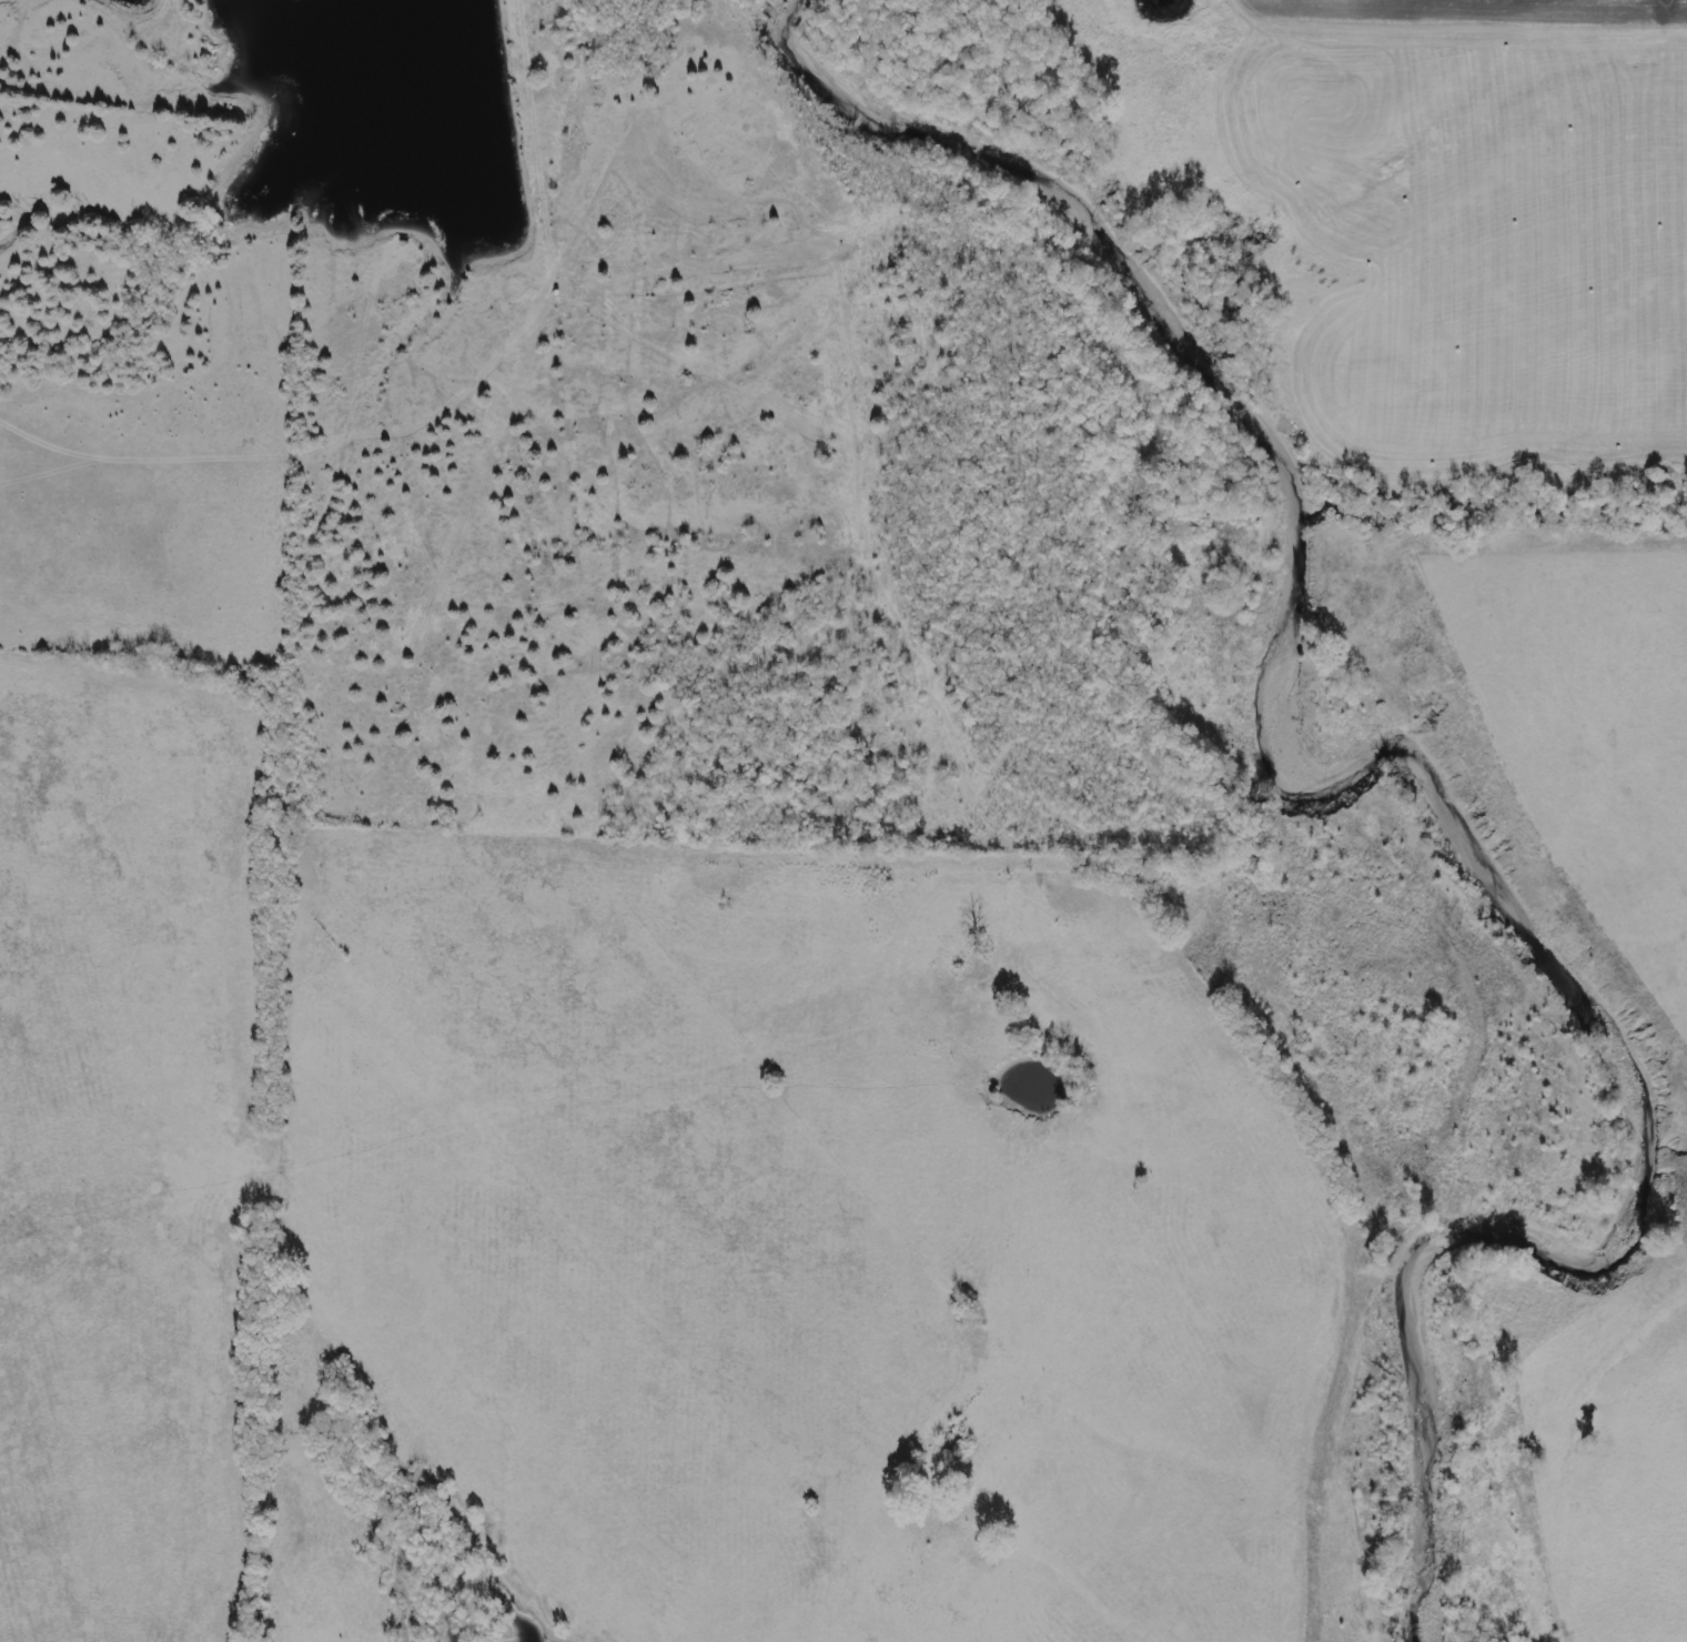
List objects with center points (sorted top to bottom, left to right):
road: (1071, 888)
road: (271, 1030)

